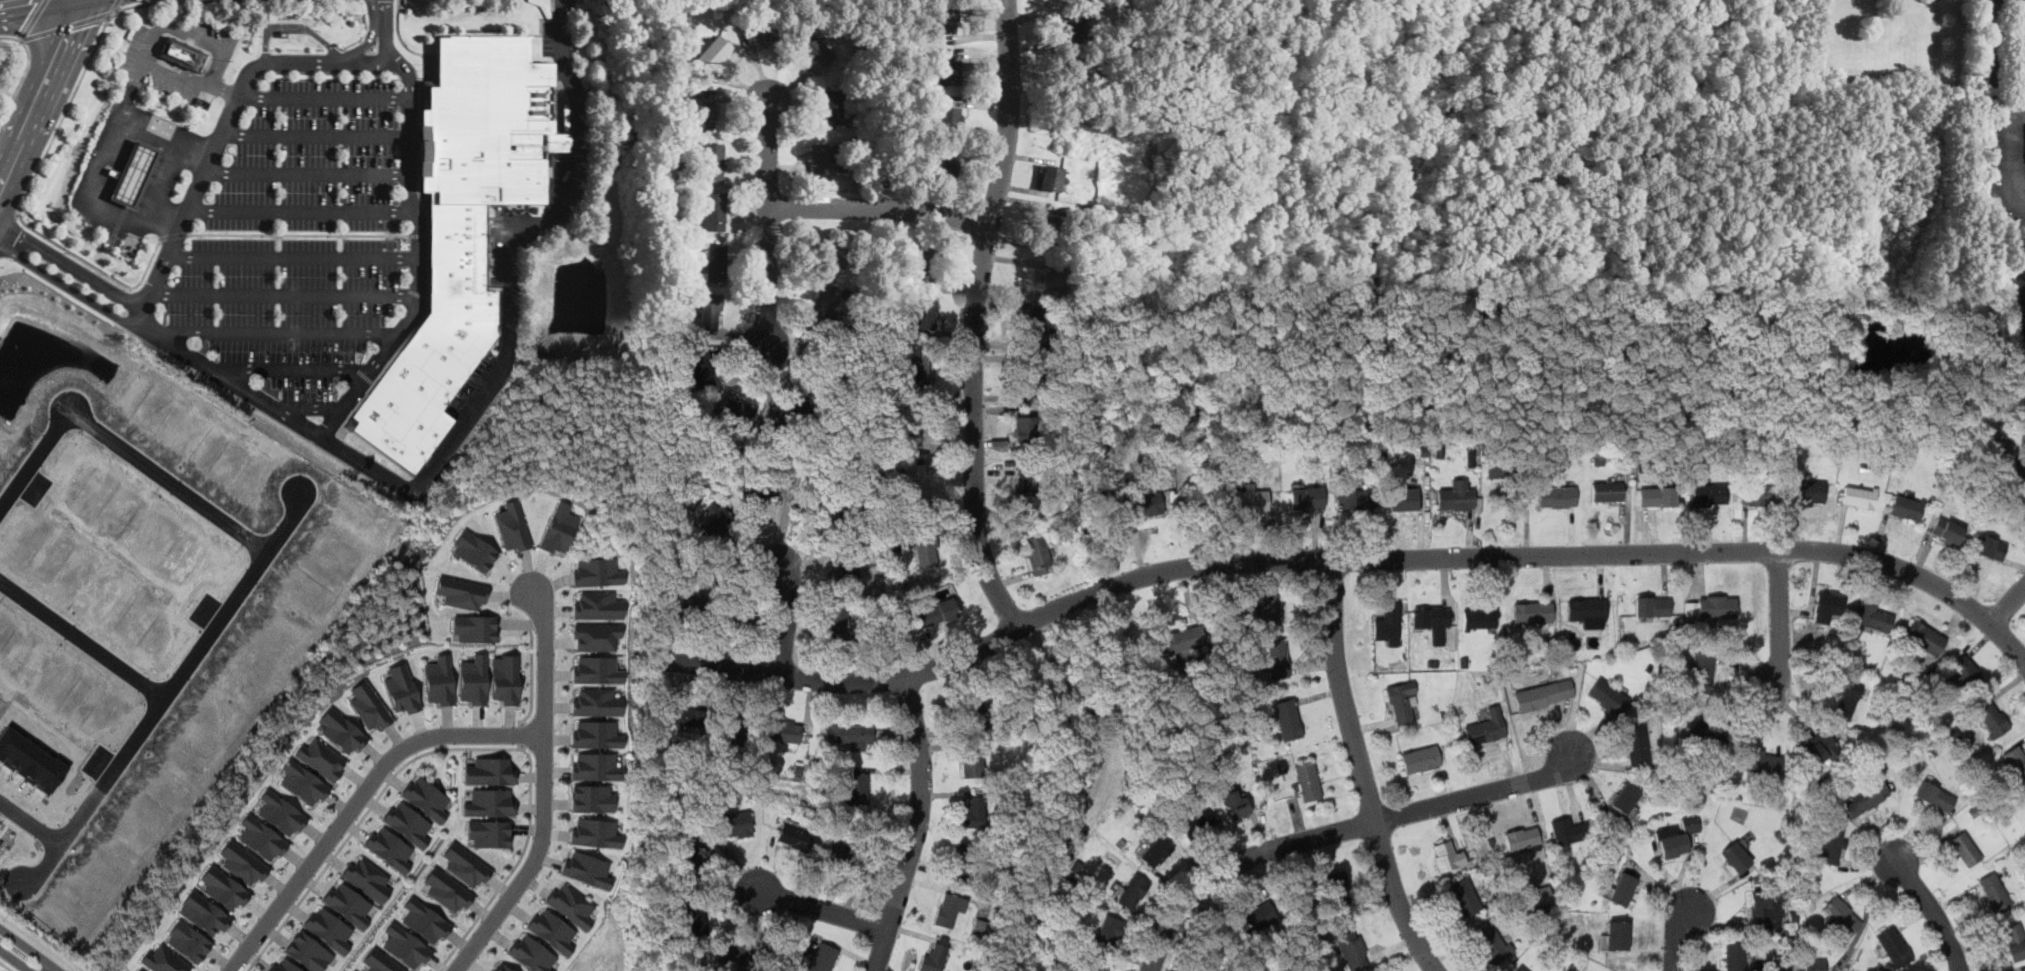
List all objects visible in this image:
road: (12, 2)
road: (116, 6)
road: (552, 15)
road: (34, 19)
building: (946, 20)
road: (67, 26)
road: (293, 26)
road: (169, 28)
building: (1075, 28)
road: (387, 31)
road: (2010, 33)
building: (764, 34)
road: (399, 37)
road: (369, 39)
building: (815, 47)
building: (182, 52)
building: (714, 52)
parking lot: (179, 58)
road: (392, 63)
building: (947, 70)
building: (1082, 70)
road: (23, 71)
road: (132, 92)
road: (326, 92)
road: (40, 93)
road: (1999, 97)
building: (833, 106)
building: (706, 111)
building: (950, 116)
building: (488, 120)
road: (317, 134)
road: (50, 144)
building: (820, 155)
building: (714, 160)
road: (107, 163)
building: (941, 163)
road: (311, 167)
building: (134, 174)
gas station: (134, 174)
building: (1053, 176)
road: (302, 206)
road: (879, 207)
building: (714, 210)
road: (767, 226)
building: (1053, 227)
road: (10, 231)
road: (299, 233)
road: (419, 234)
road: (173, 235)
parking lot: (297, 238)
road: (1, 244)
road: (1, 246)
road: (292, 254)
building: (826, 255)
building: (716, 260)
building: (928, 261)
road: (72, 266)
building: (1052, 278)
road: (284, 292)
building: (826, 304)
building: (710, 313)
building: (925, 313)
road: (974, 317)
building: (1043, 325)
road: (278, 334)
building: (435, 343)
building: (702, 367)
building: (828, 370)
road: (295, 372)
building: (919, 372)
building: (1032, 378)
road: (312, 407)
building: (738, 411)
building: (794, 412)
building: (1026, 429)
building: (911, 431)
road: (120, 444)
building: (1998, 446)
road: (432, 464)
building: (1499, 469)
building: (2021, 470)
building: (914, 482)
building: (759, 488)
building: (1026, 490)
building: (1607, 491)
building: (1807, 492)
building: (1707, 495)
building: (1456, 496)
building: (1755, 496)
building: (1557, 497)
building: (1657, 497)
building: (1860, 497)
building: (1306, 498)
building: (1352, 498)
building: (1403, 499)
building: (1246, 501)
building: (824, 506)
building: (1146, 506)
building: (1907, 507)
building: (716, 522)
building: (512, 527)
building: (560, 529)
building: (1947, 531)
building: (1990, 548)
building: (475, 551)
building: (926, 551)
building: (1038, 555)
road: (1347, 559)
building: (847, 563)
building: (597, 571)
building: (462, 593)
road: (2008, 603)
building: (679, 606)
building: (599, 607)
building: (1652, 607)
building: (1826, 607)
building: (1716, 608)
building: (1268, 609)
building: (1533, 612)
building: (1588, 612)
building: (936, 613)
building: (737, 617)
building: (1871, 617)
building: (1479, 619)
road: (789, 620)
building: (1431, 622)
building: (838, 624)
building: (1388, 624)
road: (1780, 626)
building: (475, 628)
road: (82, 636)
building: (596, 636)
building: (1925, 638)
building: (1184, 639)
building: (1277, 658)
road: (544, 661)
building: (596, 670)
building: (1964, 670)
building: (1701, 672)
road: (532, 673)
building: (505, 679)
building: (475, 680)
building: (441, 681)
building: (403, 689)
road: (164, 694)
building: (1542, 695)
building: (1608, 695)
building: (1847, 700)
building: (1401, 701)
building: (595, 703)
building: (371, 706)
building: (977, 712)
building: (679, 714)
building: (1288, 718)
building: (1992, 720)
building: (1486, 728)
building: (732, 730)
building: (785, 731)
building: (343, 732)
building: (1703, 733)
road: (522, 734)
building: (595, 735)
building: (850, 735)
building: (1637, 745)
road: (460, 748)
building: (1821, 750)
building: (322, 759)
building: (1420, 759)
building: (972, 762)
building: (1761, 762)
building: (2016, 762)
building: (595, 766)
road: (1362, 771)
building: (491, 772)
building: (1308, 782)
building: (304, 783)
building: (857, 788)
road: (1480, 793)
building: (1866, 796)
building: (1934, 796)
building: (427, 798)
building: (592, 798)
building: (1625, 798)
road: (358, 801)
building: (490, 802)
building: (1234, 804)
building: (282, 812)
building: (974, 813)
building: (407, 823)
building: (1691, 824)
building: (735, 825)
building: (1196, 825)
road: (916, 828)
building: (1569, 831)
building: (596, 832)
building: (489, 833)
building: (793, 836)
building: (263, 839)
building: (1521, 839)
building: (1671, 842)
building: (1832, 845)
building: (389, 849)
building: (1965, 849)
building: (1157, 852)
building: (834, 855)
building: (963, 855)
building: (1448, 857)
building: (1736, 857)
building: (693, 858)
building: (845, 860)
road: (1238, 862)
building: (244, 863)
road: (533, 863)
building: (465, 865)
building: (856, 867)
building: (587, 869)
building: (366, 879)
building: (225, 889)
building: (446, 890)
building: (1338, 890)
building: (1622, 890)
building: (1133, 892)
building: (1995, 894)
building: (1543, 895)
building: (1465, 897)
building: (348, 904)
building: (571, 905)
road: (817, 908)
building: (949, 910)
building: (1764, 911)
road: (1934, 911)
building: (204, 913)
building: (1261, 915)
building: (697, 916)
building: (1842, 916)
building: (423, 921)
building: (329, 929)
building: (551, 929)
building: (1110, 930)
building: (1617, 935)
road: (1675, 935)
building: (188, 941)
building: (2015, 941)
road: (38, 942)
building: (1493, 944)
building: (406, 945)
road: (28, 947)
building: (1894, 947)
building: (729, 951)
building: (1351, 951)
building: (307, 952)
building: (530, 954)
building: (1734, 956)
building: (820, 957)
building: (935, 957)
road: (15, 960)
building: (165, 960)
building: (379, 962)
building: (283, 965)
building: (1815, 965)
building: (1098, 966)
road: (5, 967)
building: (500, 968)
building: (1521, 968)
building: (141, 969)
building: (356, 970)

